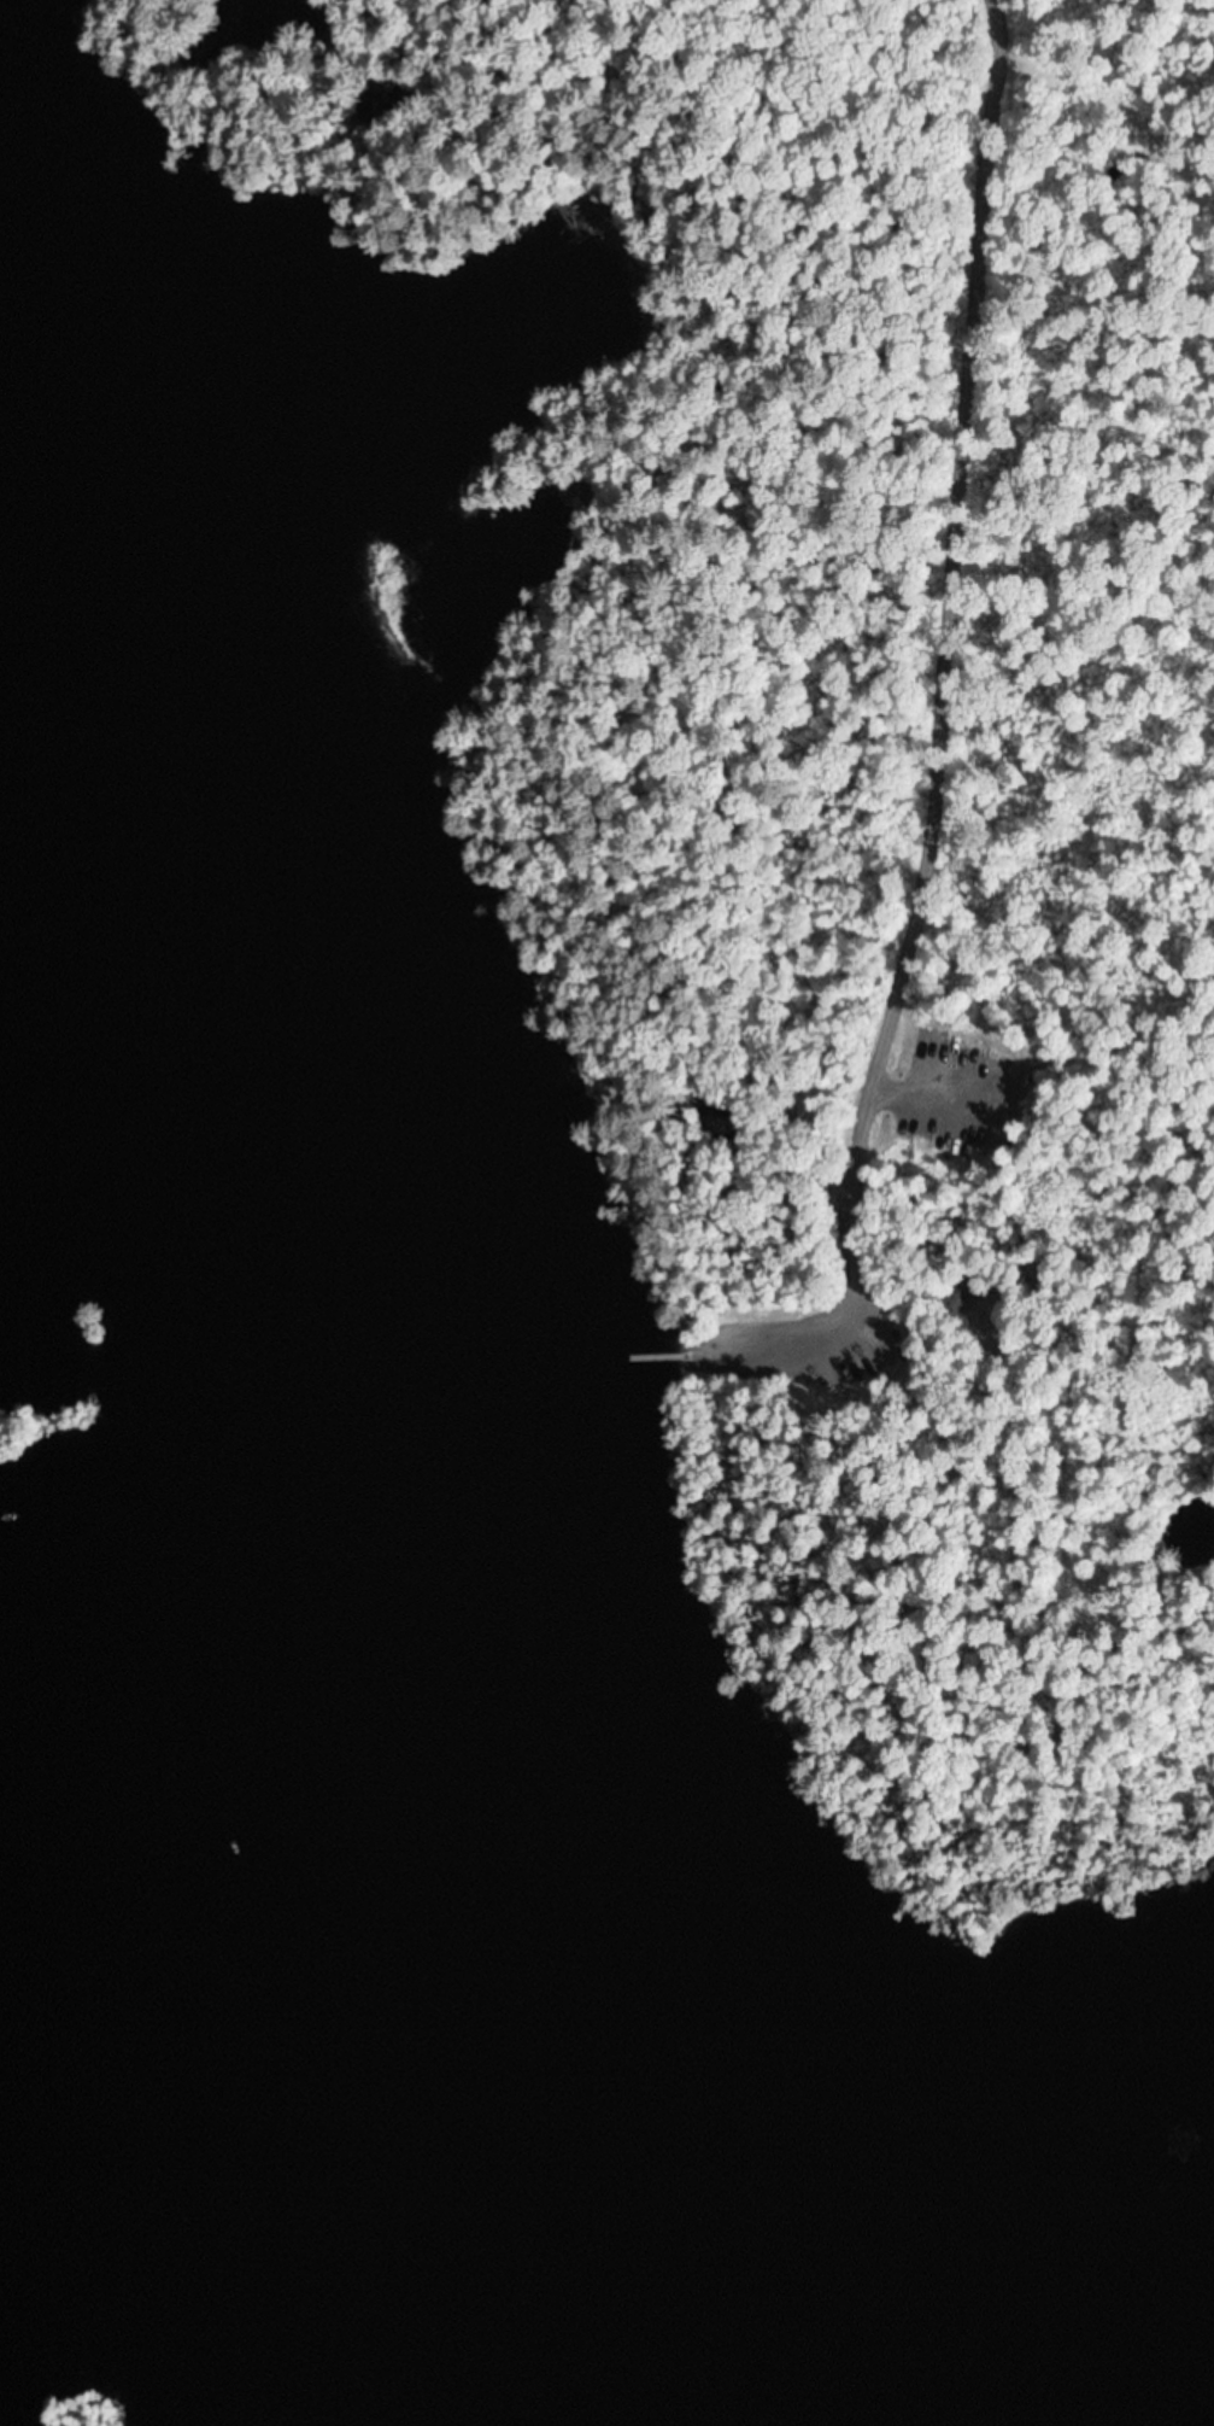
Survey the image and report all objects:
road: (938, 729)

